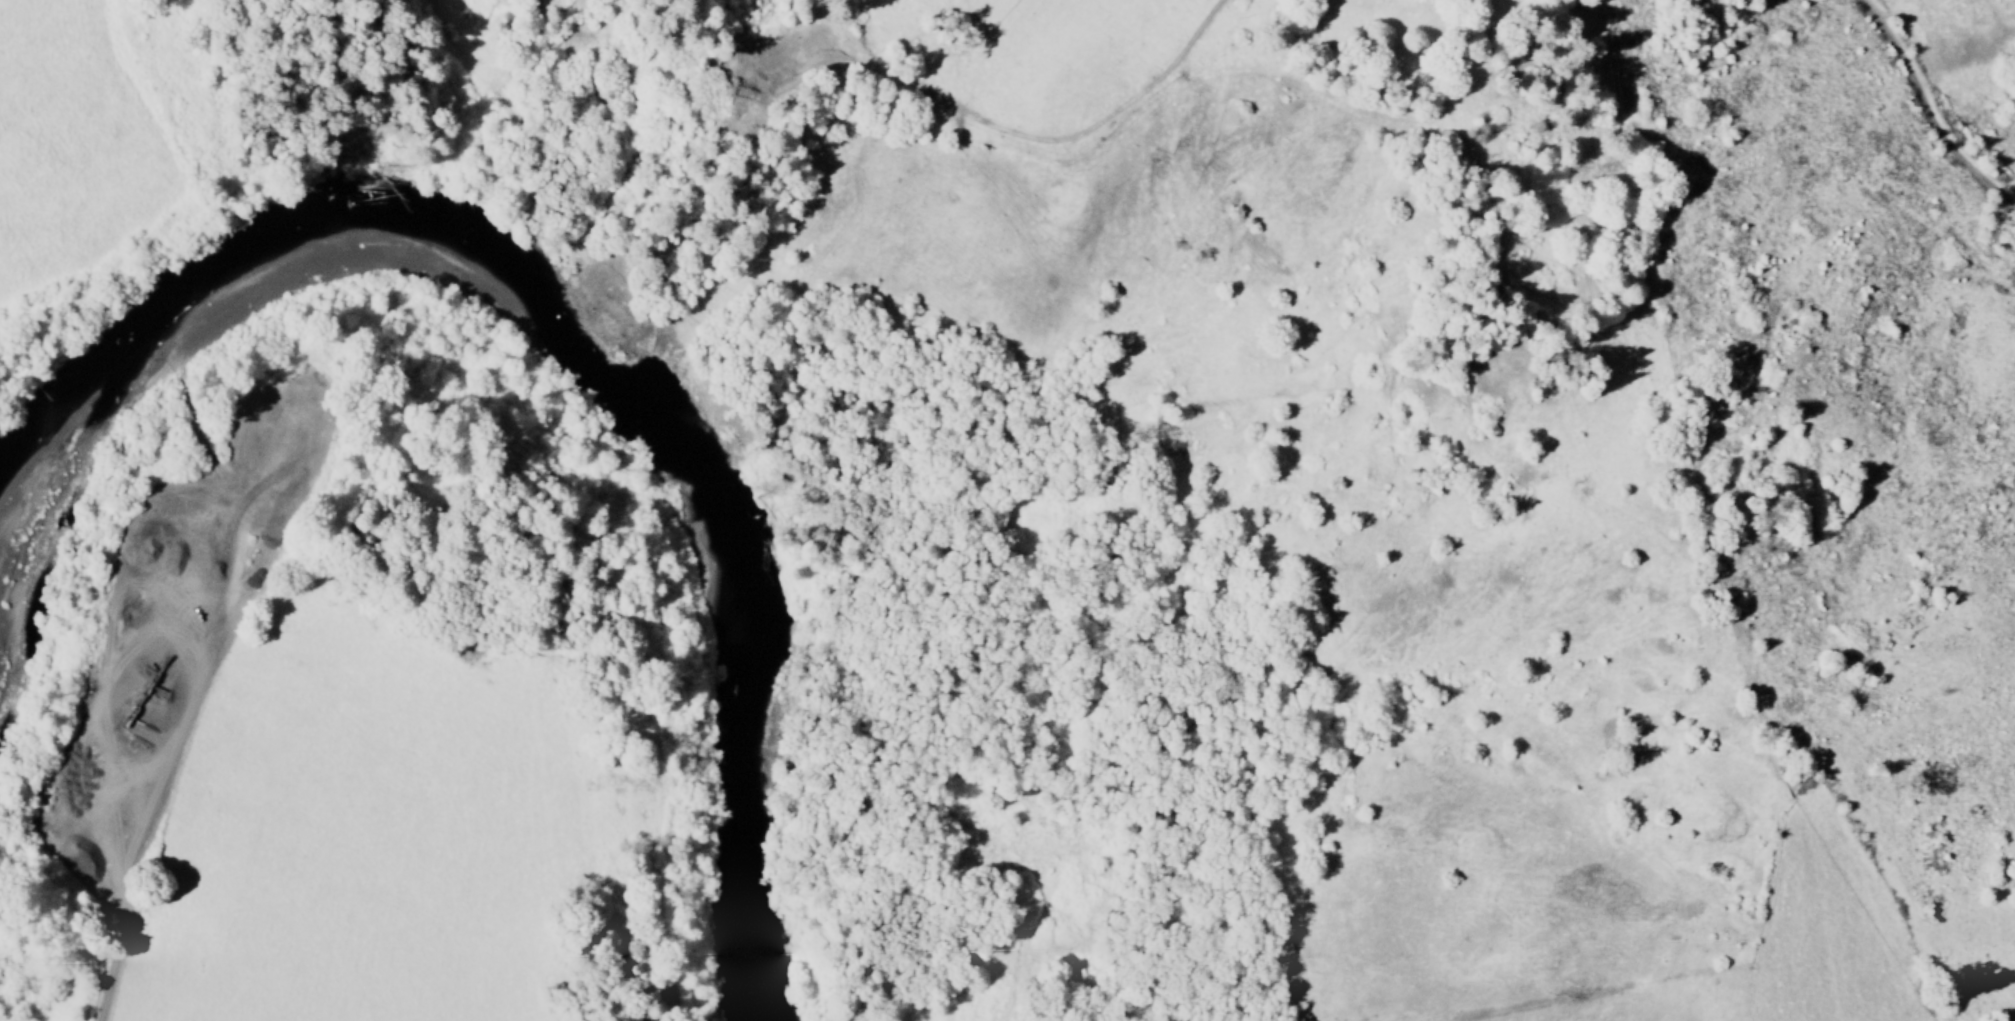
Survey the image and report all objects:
road: (1924, 120)
road: (1033, 138)
river: (566, 339)
road: (185, 732)

